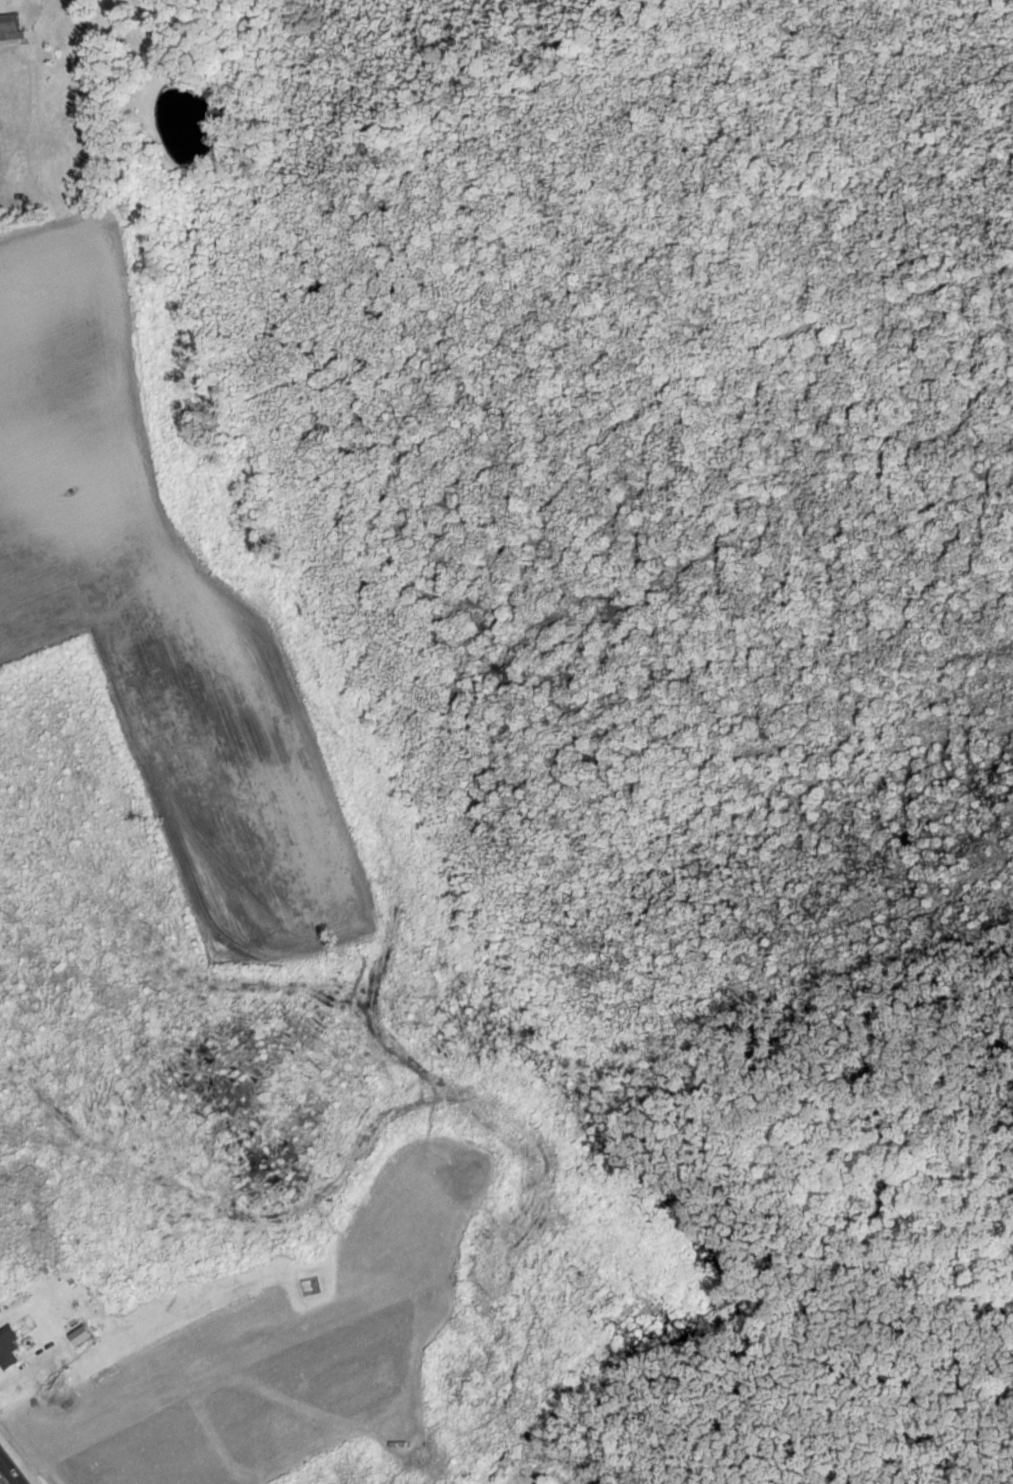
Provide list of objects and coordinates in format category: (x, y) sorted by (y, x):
building: (10, 26)
building: (81, 1333)
building: (10, 1348)

